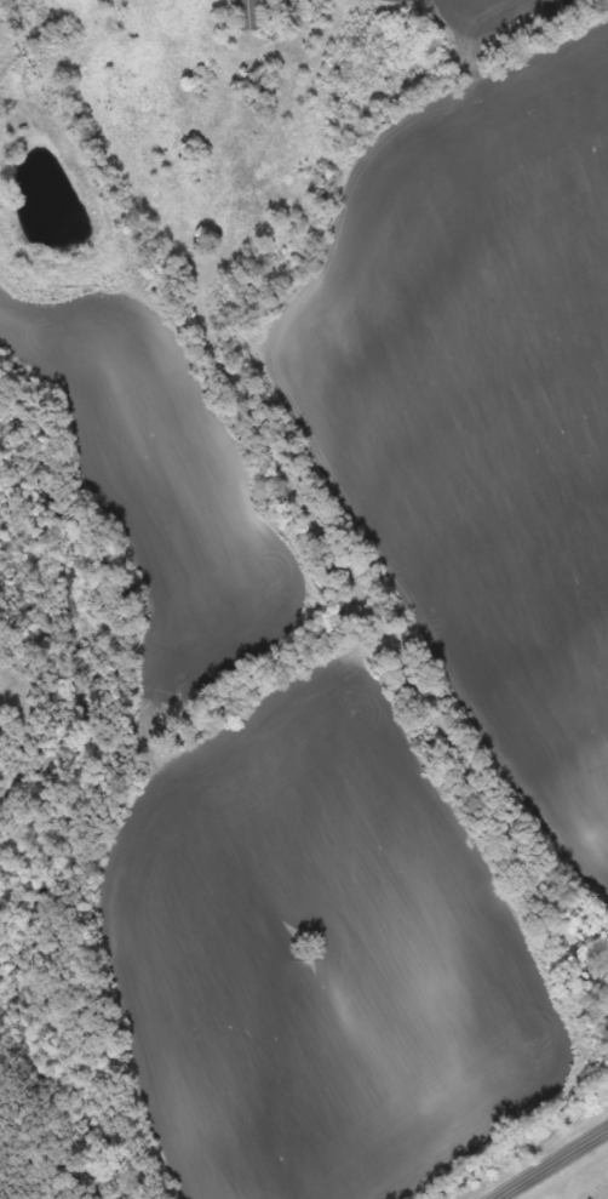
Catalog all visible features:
building: (249, 13)
building: (283, 15)
road: (291, 526)
road: (552, 1163)

